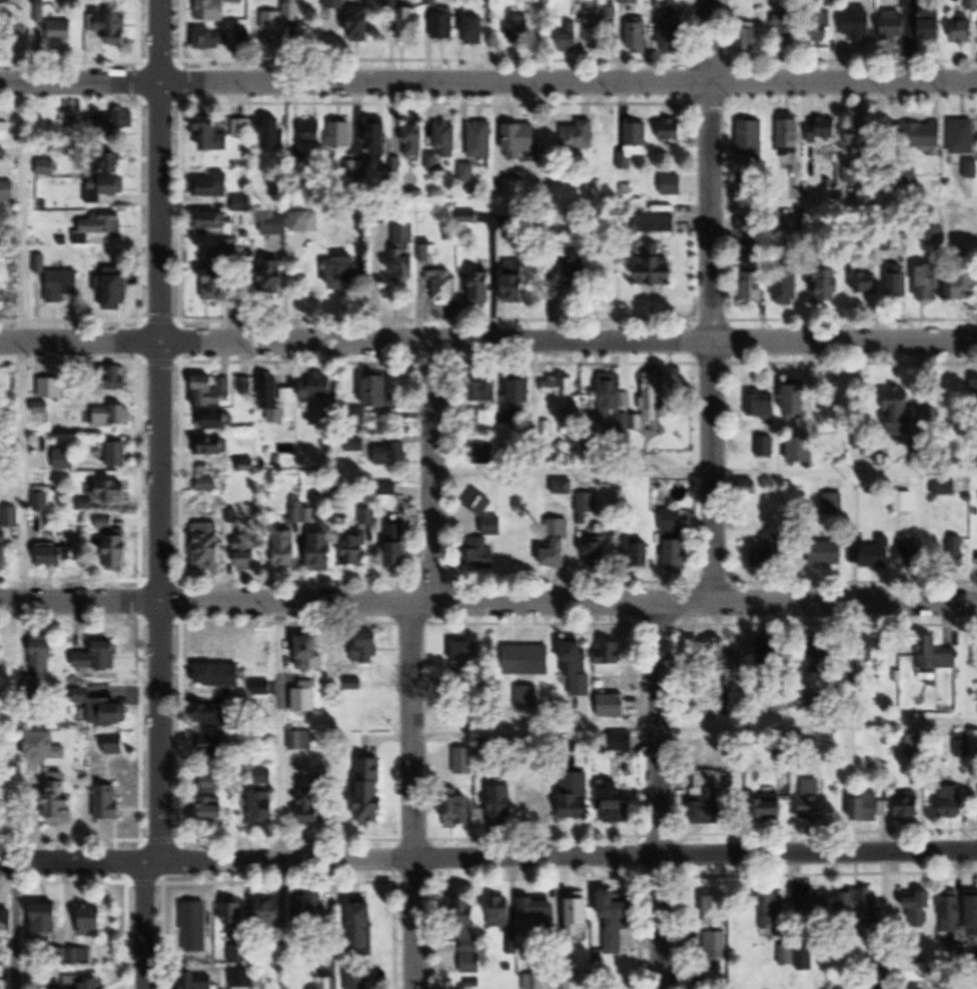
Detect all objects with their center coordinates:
building: (37, 1)
building: (630, 2)
building: (332, 4)
building: (668, 4)
building: (971, 4)
building: (392, 6)
building: (214, 10)
building: (293, 16)
building: (362, 24)
building: (857, 24)
building: (895, 24)
building: (932, 24)
building: (413, 25)
building: (786, 25)
building: (443, 26)
building: (519, 28)
building: (110, 29)
building: (964, 29)
building: (477, 30)
building: (601, 30)
building: (822, 31)
building: (60, 32)
building: (673, 33)
building: (639, 37)
building: (215, 39)
building: (569, 40)
building: (749, 40)
road: (488, 80)
building: (111, 122)
building: (212, 128)
building: (242, 129)
building: (826, 130)
building: (673, 131)
building: (8, 132)
building: (313, 133)
building: (863, 134)
building: (274, 135)
building: (341, 135)
building: (791, 135)
building: (921, 135)
building: (580, 136)
building: (963, 138)
building: (379, 139)
building: (753, 139)
building: (481, 140)
building: (416, 141)
building: (515, 142)
building: (444, 144)
building: (636, 145)
building: (3, 156)
building: (111, 164)
building: (970, 169)
building: (468, 173)
building: (854, 175)
building: (671, 185)
building: (114, 186)
building: (212, 188)
building: (8, 191)
building: (516, 191)
road: (845, 208)
building: (209, 221)
building: (302, 221)
building: (102, 223)
building: (274, 224)
building: (656, 224)
building: (746, 225)
building: (936, 236)
building: (409, 253)
building: (576, 266)
building: (659, 269)
building: (345, 274)
building: (276, 278)
building: (218, 281)
building: (868, 283)
building: (930, 283)
building: (898, 284)
building: (62, 286)
building: (444, 286)
building: (754, 286)
building: (827, 286)
building: (965, 286)
building: (484, 288)
building: (115, 289)
building: (519, 289)
building: (787, 289)
road: (25, 302)
road: (712, 305)
road: (488, 340)
building: (116, 379)
building: (246, 387)
building: (486, 388)
building: (319, 389)
building: (40, 391)
building: (212, 392)
building: (523, 392)
building: (560, 393)
building: (654, 393)
building: (382, 395)
building: (613, 397)
building: (276, 400)
building: (800, 401)
building: (763, 405)
building: (904, 411)
building: (113, 417)
building: (216, 421)
road: (161, 431)
building: (596, 445)
building: (767, 446)
building: (213, 447)
building: (803, 449)
building: (483, 451)
building: (395, 453)
building: (118, 455)
building: (64, 460)
road: (707, 474)
road: (437, 475)
building: (945, 482)
building: (207, 486)
building: (566, 487)
building: (386, 489)
building: (113, 492)
building: (41, 500)
building: (479, 502)
building: (587, 502)
building: (905, 502)
building: (300, 512)
building: (11, 518)
building: (672, 520)
building: (104, 524)
building: (493, 526)
building: (400, 547)
building: (5, 548)
building: (957, 548)
building: (118, 550)
building: (287, 550)
building: (324, 551)
building: (358, 551)
building: (208, 552)
building: (768, 552)
building: (638, 553)
building: (826, 553)
building: (871, 553)
building: (246, 554)
building: (559, 554)
building: (598, 554)
building: (481, 555)
building: (680, 555)
building: (55, 556)
building: (910, 556)
road: (488, 609)
building: (367, 650)
building: (312, 652)
building: (771, 652)
building: (42, 653)
building: (938, 655)
building: (722, 656)
building: (611, 658)
building: (99, 659)
building: (467, 659)
building: (526, 660)
building: (218, 676)
building: (581, 685)
building: (263, 689)
building: (305, 698)
building: (613, 706)
building: (104, 709)
building: (213, 715)
road: (694, 727)
road: (278, 734)
building: (300, 741)
building: (973, 741)
building: (624, 742)
building: (115, 745)
building: (215, 746)
building: (916, 747)
building: (45, 748)
building: (208, 782)
building: (372, 793)
building: (579, 796)
building: (61, 799)
road: (413, 799)
road: (662, 799)
building: (706, 800)
building: (913, 801)
building: (109, 803)
building: (314, 803)
building: (953, 804)
building: (614, 805)
building: (502, 807)
building: (262, 809)
building: (813, 809)
building: (772, 810)
building: (866, 810)
building: (541, 811)
building: (456, 812)
building: (214, 813)
road: (488, 859)
building: (859, 904)
building: (773, 907)
building: (817, 908)
building: (309, 909)
building: (618, 909)
building: (539, 910)
building: (717, 911)
building: (917, 911)
building: (460, 912)
building: (500, 913)
building: (271, 915)
building: (234, 916)
building: (579, 916)
building: (952, 916)
building: (974, 917)
building: (48, 919)
building: (93, 922)
road: (18, 925)
road: (148, 926)
building: (365, 926)
building: (196, 928)
building: (714, 946)
building: (242, 955)
building: (471, 956)
building: (78, 957)
building: (804, 959)
building: (914, 972)
building: (576, 978)
building: (243, 979)
building: (357, 980)
building: (533, 980)
building: (83, 983)
building: (205, 984)

